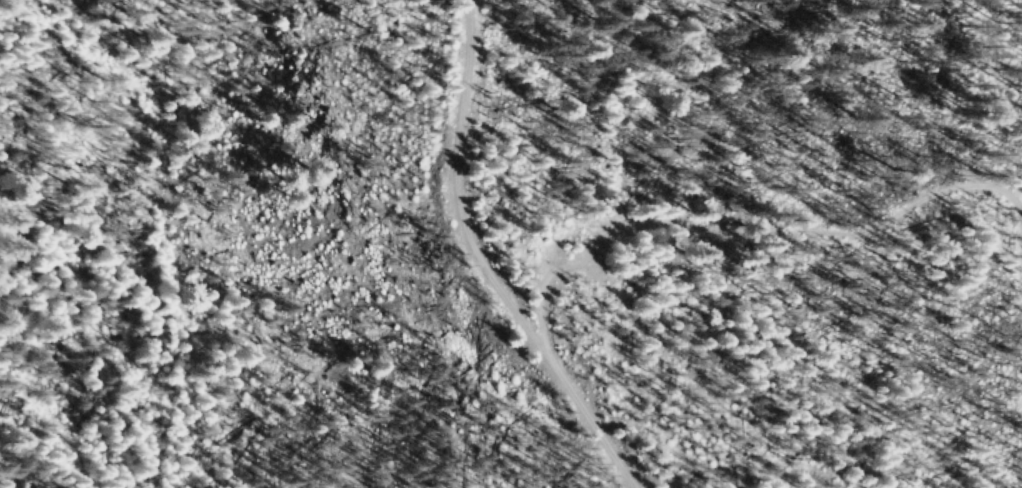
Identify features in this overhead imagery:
road: (615, 442)

